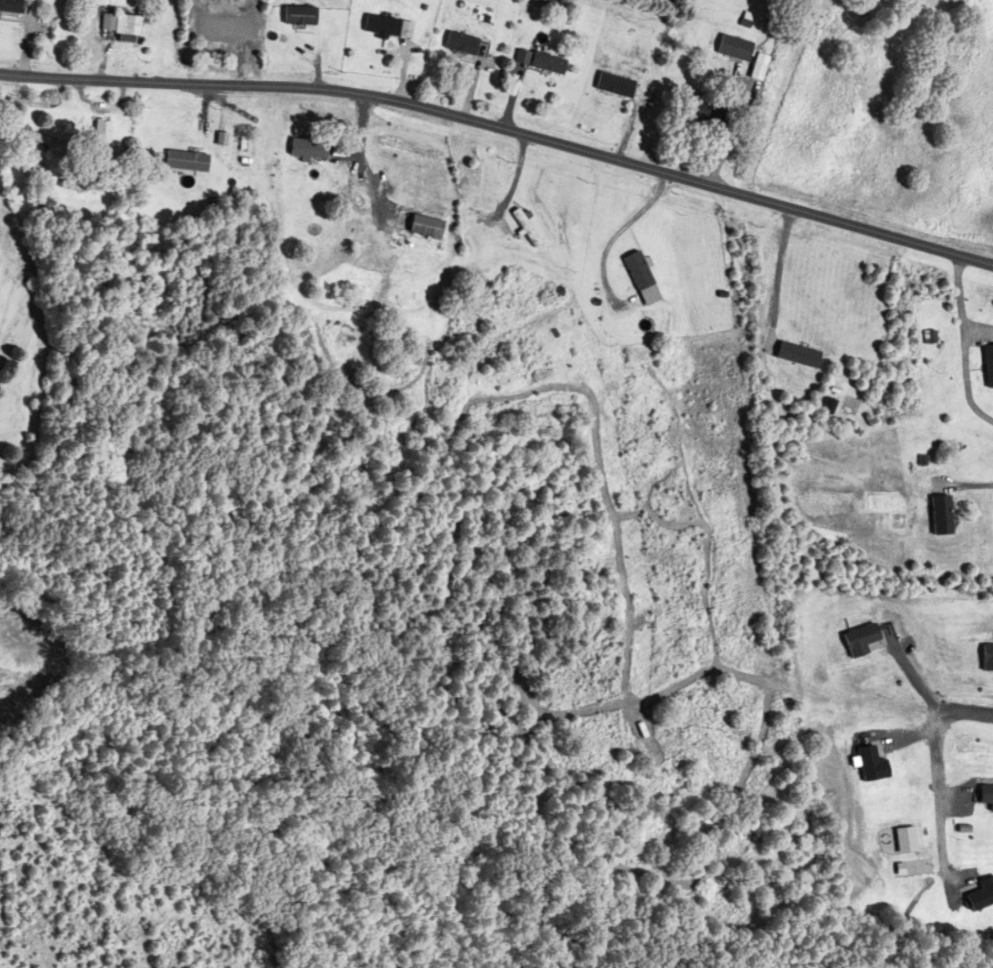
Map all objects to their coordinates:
building: (8, 6)
building: (221, 14)
building: (297, 15)
building: (118, 26)
building: (386, 27)
building: (459, 43)
building: (732, 48)
building: (545, 63)
building: (613, 84)
building: (704, 111)
building: (100, 132)
road: (502, 133)
building: (306, 148)
road: (363, 153)
building: (184, 161)
building: (423, 226)
road: (778, 274)
building: (639, 279)
road: (965, 346)
building: (987, 367)
road: (965, 485)
building: (938, 515)
building: (858, 640)
building: (986, 658)
building: (870, 762)
road: (941, 769)
building: (985, 796)
building: (980, 895)

